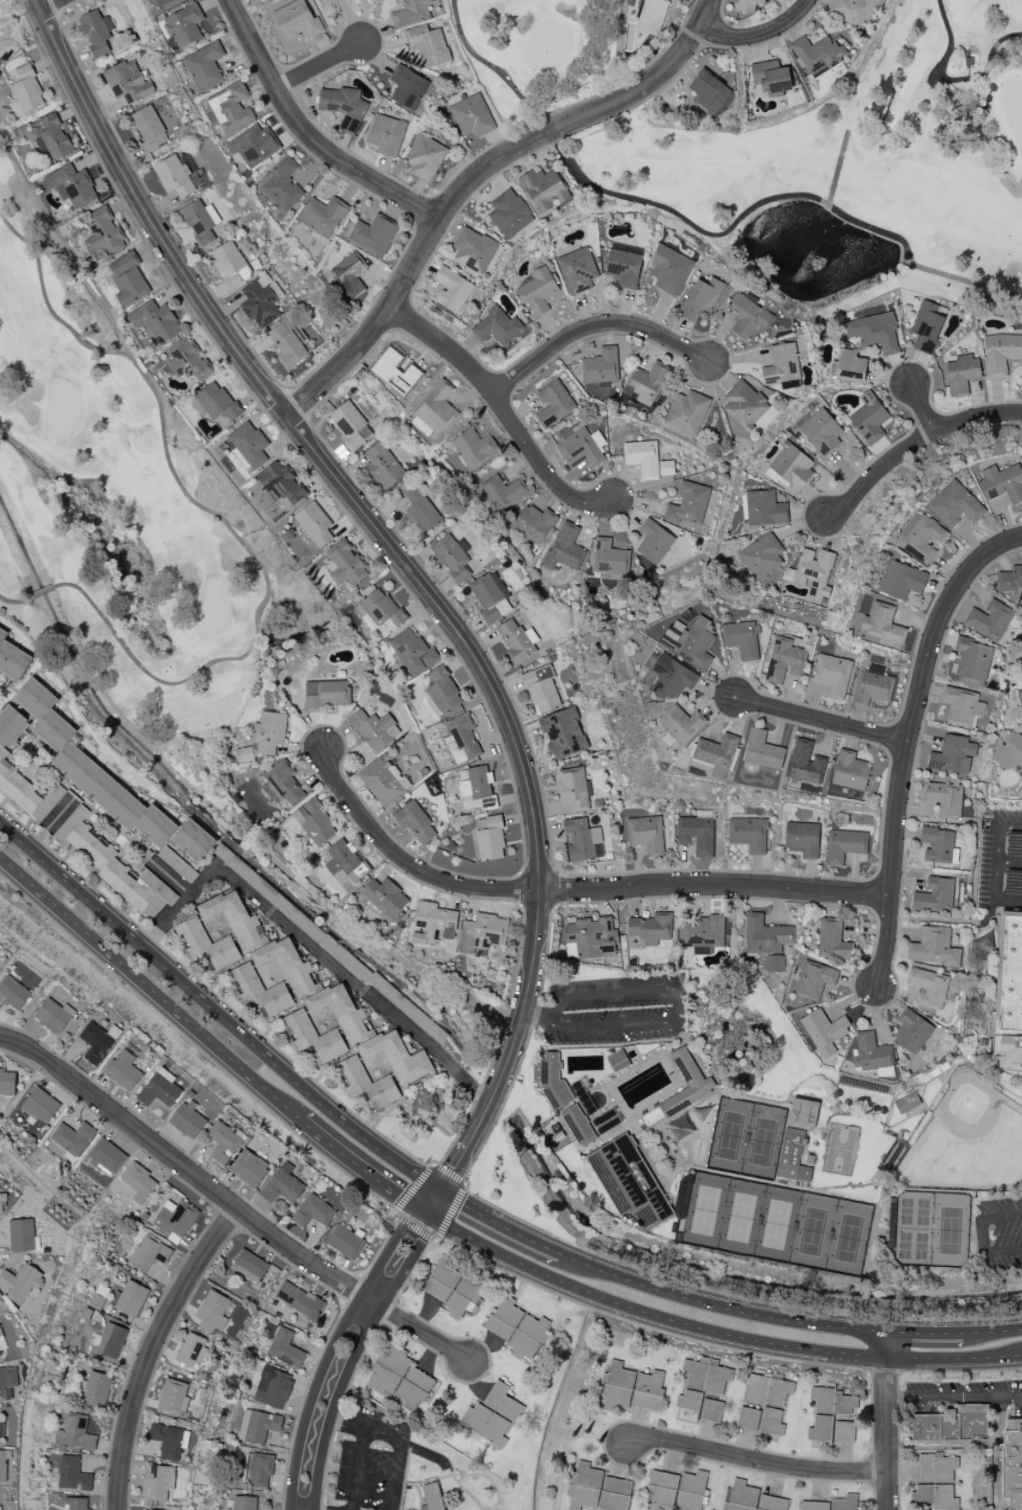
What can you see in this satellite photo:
building: (163, 2)
road: (50, 4)
building: (748, 5)
building: (652, 11)
building: (854, 11)
building: (410, 13)
building: (297, 20)
park: (536, 24)
building: (96, 32)
road: (760, 35)
building: (427, 45)
building: (205, 66)
road: (320, 67)
building: (771, 77)
building: (128, 82)
building: (407, 87)
building: (27, 90)
building: (709, 92)
building: (231, 107)
building: (344, 107)
building: (472, 116)
building: (149, 128)
road: (307, 134)
building: (386, 135)
building: (53, 138)
building: (253, 146)
building: (424, 158)
building: (174, 176)
road: (475, 178)
park: (853, 179)
building: (282, 184)
building: (71, 186)
building: (544, 189)
building: (510, 214)
building: (323, 215)
building: (201, 222)
building: (104, 233)
building: (374, 235)
building: (473, 250)
building: (230, 264)
building: (624, 267)
building: (669, 270)
building: (578, 271)
building: (350, 273)
building: (128, 279)
building: (453, 290)
building: (538, 291)
building: (701, 298)
building: (259, 304)
building: (747, 315)
building: (156, 322)
building: (926, 326)
building: (497, 327)
road: (595, 328)
building: (875, 332)
building: (286, 344)
building: (1000, 354)
building: (187, 360)
building: (781, 365)
building: (850, 366)
building: (601, 367)
building: (395, 372)
building: (962, 374)
building: (647, 383)
building: (553, 403)
building: (218, 404)
building: (744, 406)
building: (436, 408)
road: (922, 410)
road: (503, 412)
building: (687, 412)
building: (869, 418)
building: (350, 424)
building: (819, 431)
road: (914, 444)
building: (248, 446)
road: (311, 446)
building: (473, 448)
building: (581, 448)
building: (642, 458)
building: (383, 466)
building: (791, 468)
building: (280, 483)
building: (1002, 483)
park: (116, 489)
building: (503, 492)
building: (689, 505)
building: (955, 505)
building: (419, 508)
building: (765, 509)
building: (534, 523)
building: (313, 525)
building: (920, 537)
building: (654, 541)
building: (564, 548)
building: (761, 556)
building: (452, 557)
building: (609, 558)
building: (345, 564)
building: (812, 574)
building: (1010, 579)
building: (901, 580)
building: (490, 596)
building: (380, 611)
building: (989, 619)
building: (882, 624)
building: (741, 639)
building: (517, 642)
building: (413, 652)
building: (12, 658)
building: (785, 659)
building: (973, 662)
building: (832, 675)
building: (667, 676)
building: (872, 685)
building: (541, 689)
building: (443, 691)
building: (325, 694)
building: (1020, 697)
building: (961, 706)
building: (45, 714)
road: (822, 721)
building: (681, 724)
building: (11, 726)
building: (374, 729)
building: (269, 732)
building: (564, 733)
building: (461, 738)
road: (907, 742)
building: (762, 750)
building: (1009, 752)
building: (716, 754)
building: (244, 755)
building: (952, 755)
building: (805, 762)
building: (850, 771)
building: (1020, 775)
building: (381, 781)
building: (283, 783)
building: (573, 788)
building: (27, 791)
building: (113, 796)
building: (944, 798)
building: (415, 822)
building: (314, 823)
road: (49, 825)
building: (697, 833)
building: (645, 834)
building: (748, 834)
building: (490, 838)
building: (581, 839)
building: (802, 839)
building: (194, 840)
building: (938, 844)
building: (843, 845)
road: (997, 853)
building: (344, 863)
building: (177, 864)
road: (1009, 864)
building: (115, 867)
road: (576, 889)
building: (934, 896)
building: (385, 897)
road: (995, 901)
road: (936, 918)
building: (433, 923)
building: (650, 929)
building: (482, 933)
building: (700, 934)
building: (765, 935)
building: (592, 937)
building: (832, 940)
building: (207, 943)
building: (262, 943)
building: (329, 943)
road: (312, 946)
building: (934, 947)
building: (773, 963)
building: (814, 980)
building: (927, 988)
building: (1009, 988)
road: (149, 990)
building: (260, 990)
road: (669, 990)
building: (13, 993)
building: (340, 1011)
road: (215, 1012)
road: (533, 1014)
building: (54, 1015)
road: (520, 1017)
building: (824, 1031)
building: (912, 1031)
building: (313, 1037)
building: (96, 1042)
building: (870, 1052)
building: (398, 1057)
building: (617, 1061)
building: (123, 1071)
building: (7, 1082)
building: (687, 1082)
building: (367, 1083)
building: (160, 1089)
building: (561, 1098)
building: (906, 1103)
building: (40, 1105)
building: (803, 1113)
building: (187, 1119)
park: (744, 1136)
building: (72, 1137)
park: (965, 1137)
building: (224, 1141)
park: (839, 1147)
building: (106, 1156)
road: (459, 1156)
building: (792, 1156)
road: (356, 1165)
building: (249, 1169)
traffic signals: (453, 1169)
building: (138, 1182)
building: (629, 1183)
building: (282, 1185)
traffic signals: (398, 1194)
road: (427, 1198)
building: (2, 1200)
road: (232, 1203)
traffic signals: (462, 1204)
road: (437, 1205)
building: (314, 1211)
road: (425, 1211)
building: (176, 1219)
park: (775, 1220)
road: (499, 1225)
park: (931, 1230)
building: (21, 1234)
road: (984, 1234)
building: (345, 1241)
traffic signals: (421, 1241)
building: (149, 1252)
building: (250, 1265)
building: (21, 1283)
building: (453, 1289)
building: (129, 1298)
building: (299, 1300)
building: (96, 1302)
road: (720, 1306)
building: (212, 1311)
building: (517, 1329)
road: (993, 1330)
road: (925, 1331)
road: (717, 1333)
building: (111, 1340)
building: (2, 1341)
building: (285, 1348)
road: (154, 1349)
road: (331, 1349)
building: (192, 1350)
building: (0, 1355)
road: (354, 1356)
building: (399, 1377)
building: (701, 1381)
building: (7, 1383)
building: (273, 1387)
building: (631, 1388)
building: (94, 1390)
building: (173, 1396)
road: (953, 1397)
building: (768, 1399)
building: (822, 1399)
building: (845, 1405)
building: (711, 1410)
building: (492, 1414)
building: (748, 1418)
road: (886, 1420)
road: (347, 1423)
building: (953, 1424)
building: (258, 1426)
building: (1, 1428)
building: (820, 1428)
road: (377, 1431)
building: (843, 1432)
building: (75, 1433)
building: (167, 1441)
road: (568, 1443)
road: (759, 1462)
building: (3, 1466)
building: (1012, 1468)
building: (258, 1469)
building: (72, 1474)
building: (158, 1482)
building: (935, 1482)
building: (584, 1487)
building: (675, 1490)
building: (614, 1494)
building: (438, 1497)
building: (749, 1498)
building: (243, 1503)
building: (844, 1503)
building: (814, 1505)
building: (0, 1508)

